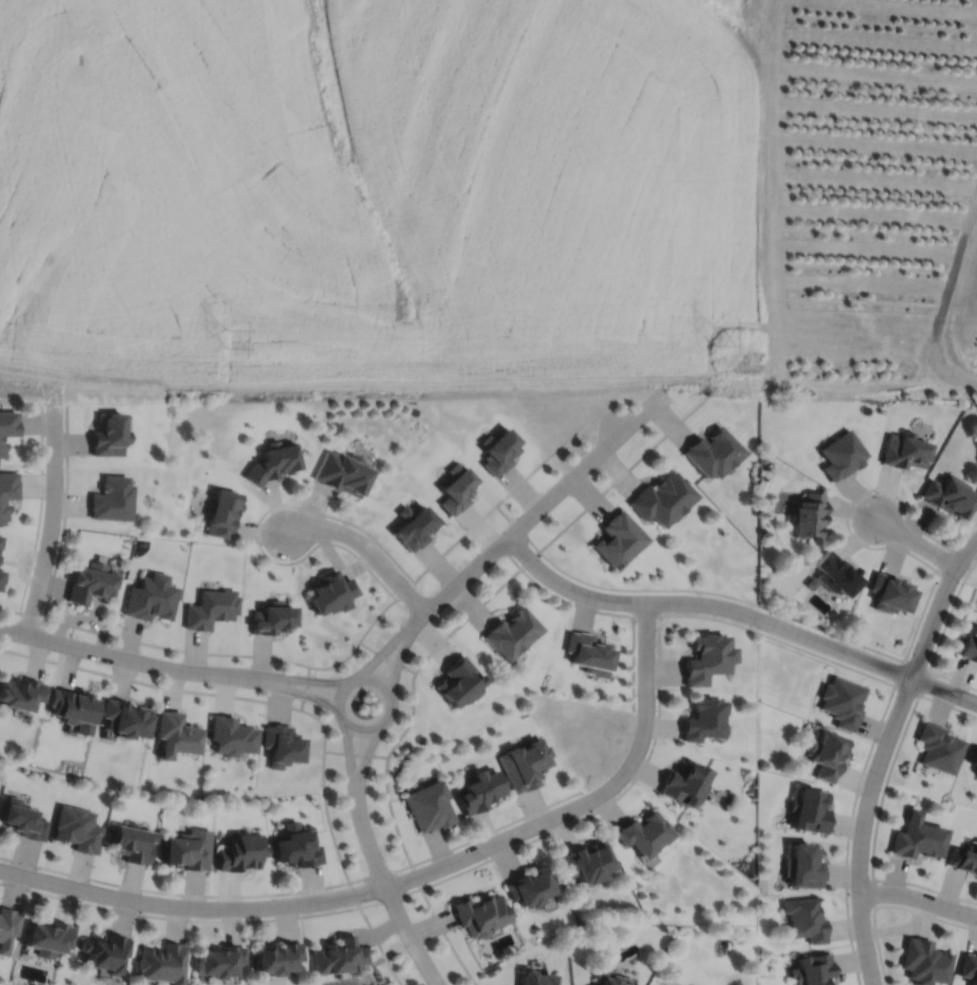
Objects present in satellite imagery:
crop: (378, 200)
road: (942, 302)
power tower: (713, 336)
power tower: (228, 338)
building: (8, 424)
building: (107, 435)
building: (2, 449)
building: (496, 451)
building: (903, 451)
building: (711, 453)
building: (842, 456)
building: (272, 463)
road: (622, 473)
building: (342, 474)
building: (455, 488)
building: (6, 492)
building: (947, 496)
building: (661, 499)
building: (111, 500)
road: (852, 501)
road: (537, 509)
road: (40, 510)
road: (65, 512)
building: (221, 514)
building: (808, 516)
road: (52, 520)
road: (258, 525)
road: (517, 527)
building: (414, 529)
road: (469, 530)
road: (964, 535)
building: (0, 537)
building: (616, 540)
road: (917, 542)
road: (366, 548)
road: (529, 559)
building: (833, 573)
building: (1, 577)
building: (89, 584)
building: (887, 592)
road: (722, 594)
building: (331, 595)
building: (150, 599)
road: (939, 606)
building: (210, 610)
road: (594, 611)
road: (739, 612)
road: (644, 615)
road: (466, 618)
building: (271, 620)
building: (510, 632)
road: (940, 638)
building: (969, 643)
road: (153, 645)
road: (383, 652)
building: (587, 653)
building: (705, 657)
road: (386, 658)
road: (658, 658)
road: (129, 659)
road: (398, 660)
road: (338, 663)
road: (305, 679)
building: (457, 681)
road: (149, 684)
road: (306, 688)
road: (646, 690)
building: (20, 691)
road: (301, 694)
building: (841, 701)
park: (364, 704)
building: (72, 707)
road: (389, 713)
building: (123, 717)
road: (411, 718)
building: (702, 719)
road: (323, 724)
building: (174, 733)
building: (230, 735)
building: (281, 744)
building: (937, 748)
road: (355, 753)
building: (827, 754)
building: (973, 756)
road: (349, 759)
road: (867, 759)
road: (363, 763)
building: (523, 763)
building: (976, 773)
building: (683, 783)
building: (478, 790)
building: (428, 806)
road: (879, 806)
building: (809, 810)
road: (391, 812)
road: (328, 818)
building: (24, 819)
road: (497, 828)
road: (863, 828)
building: (77, 829)
building: (642, 833)
road: (509, 837)
building: (916, 837)
building: (131, 842)
building: (296, 846)
building: (187, 849)
building: (239, 852)
building: (963, 859)
building: (585, 862)
building: (803, 866)
road: (380, 874)
road: (416, 877)
building: (528, 887)
road: (173, 894)
road: (873, 894)
road: (354, 895)
road: (389, 895)
road: (390, 899)
road: (918, 899)
road: (888, 906)
road: (192, 907)
building: (478, 914)
road: (178, 919)
building: (804, 920)
building: (7, 927)
building: (48, 938)
road: (446, 938)
road: (379, 946)
building: (103, 952)
building: (338, 956)
building: (276, 958)
building: (218, 961)
building: (921, 962)
building: (160, 964)
building: (968, 968)
building: (812, 970)
building: (533, 979)
building: (614, 980)

